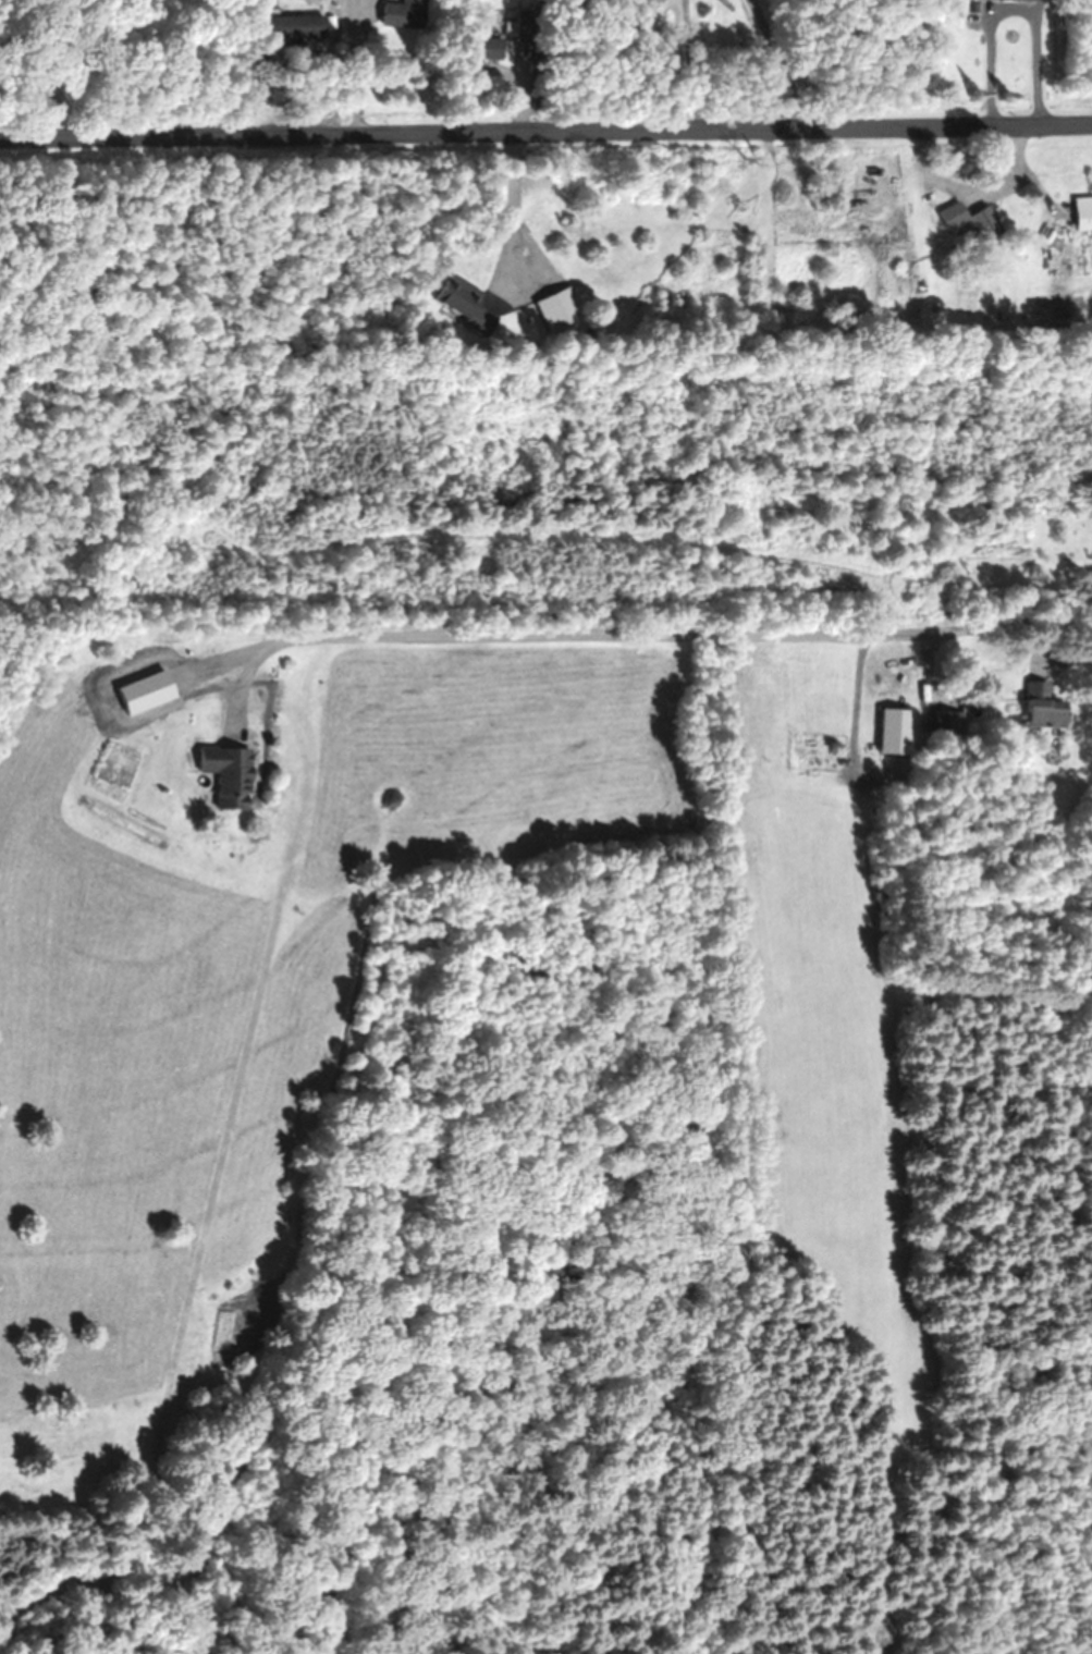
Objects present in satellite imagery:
building: (1013, 0)
building: (400, 15)
building: (292, 28)
building: (482, 49)
road: (545, 130)
building: (1081, 215)
building: (967, 222)
building: (459, 304)
building: (557, 309)
road: (628, 637)
road: (1058, 662)
building: (1036, 707)
building: (944, 724)
building: (223, 775)
building: (204, 1555)

